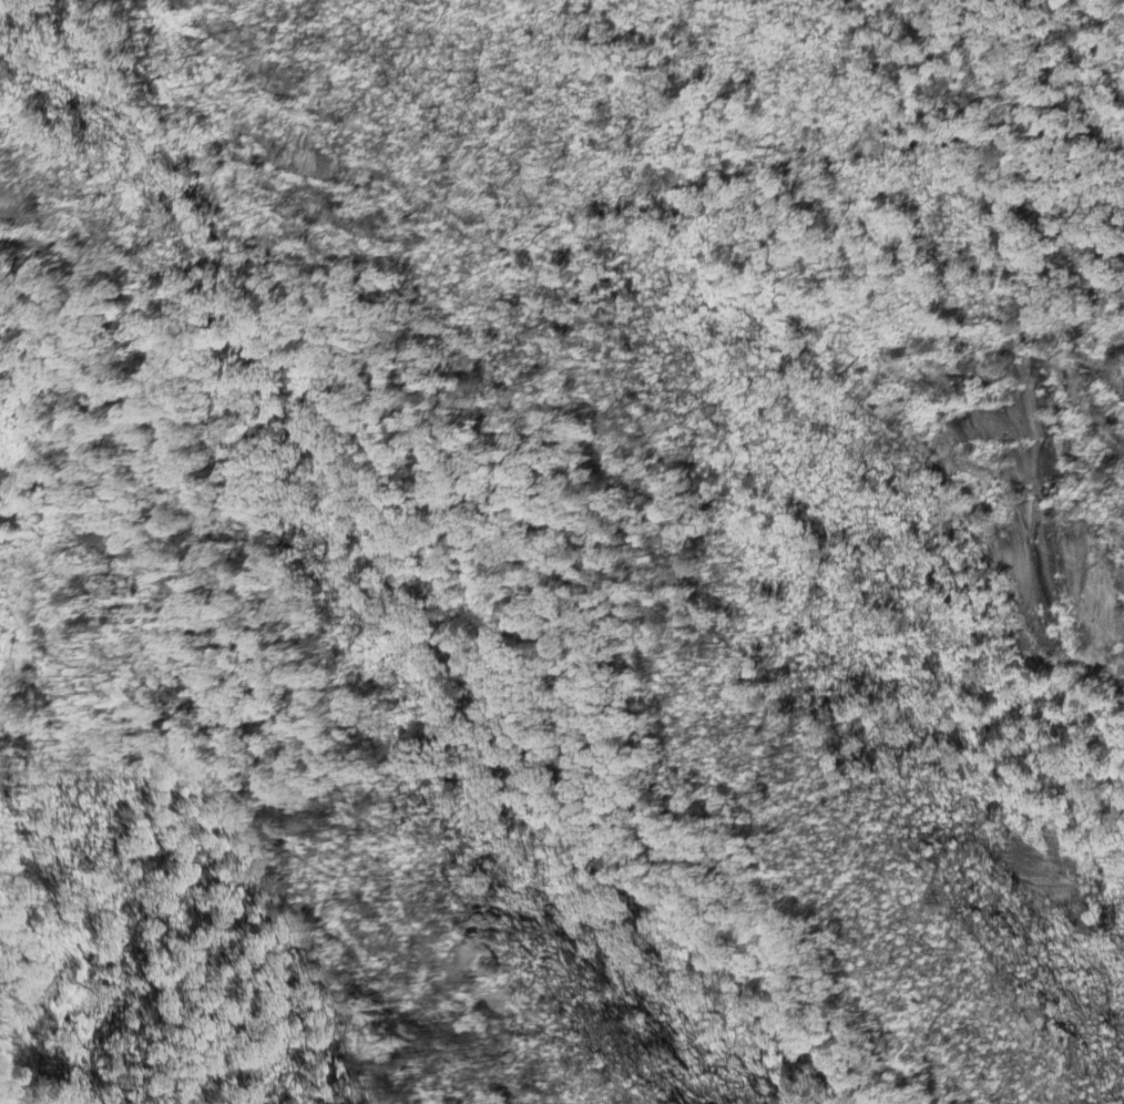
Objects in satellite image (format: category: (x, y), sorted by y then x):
park: (505, 490)

